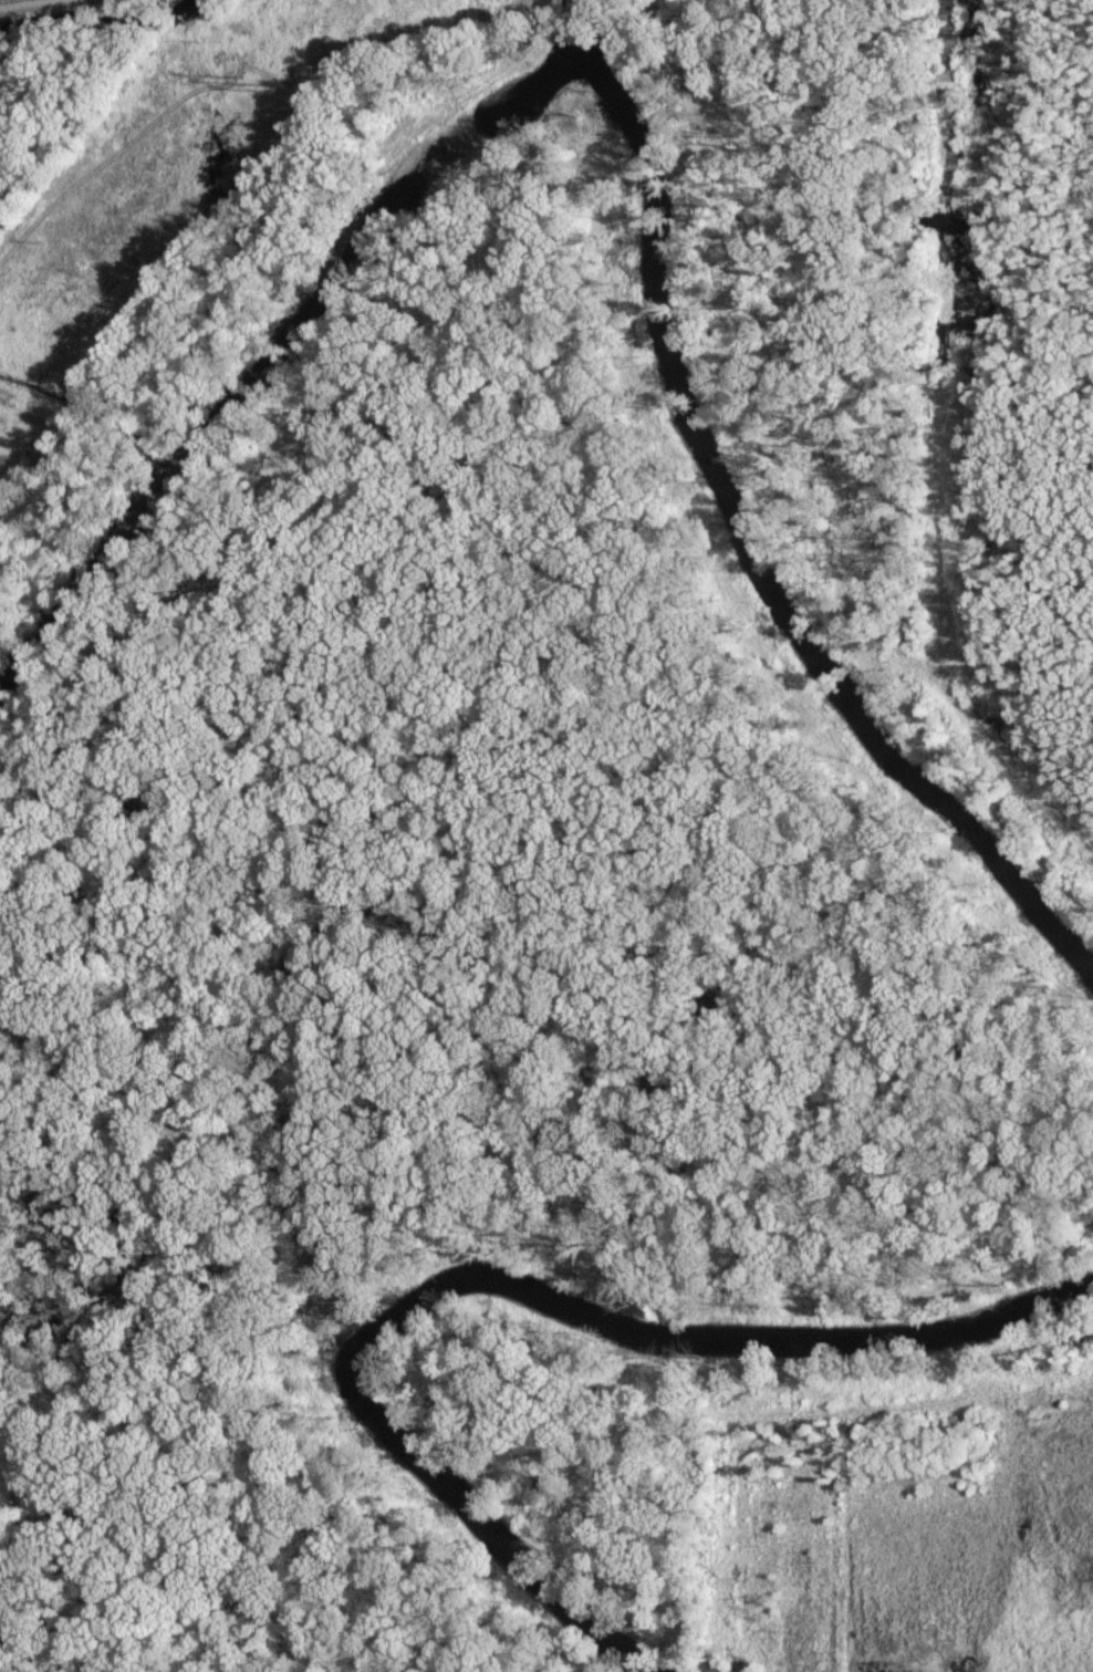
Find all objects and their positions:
railway: (6, 0)
power tower: (264, 86)

